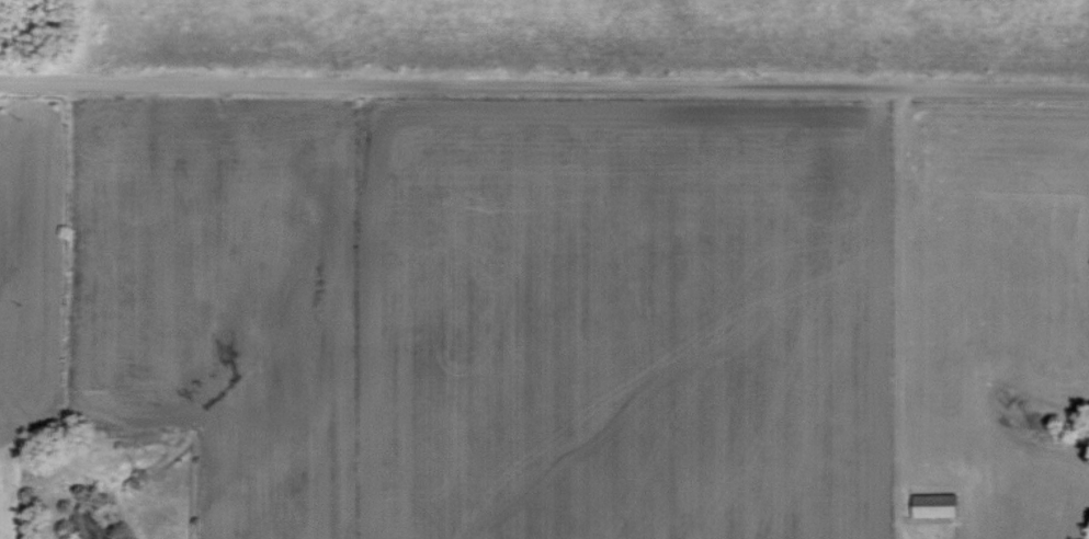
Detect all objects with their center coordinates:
road: (544, 88)
building: (938, 505)

